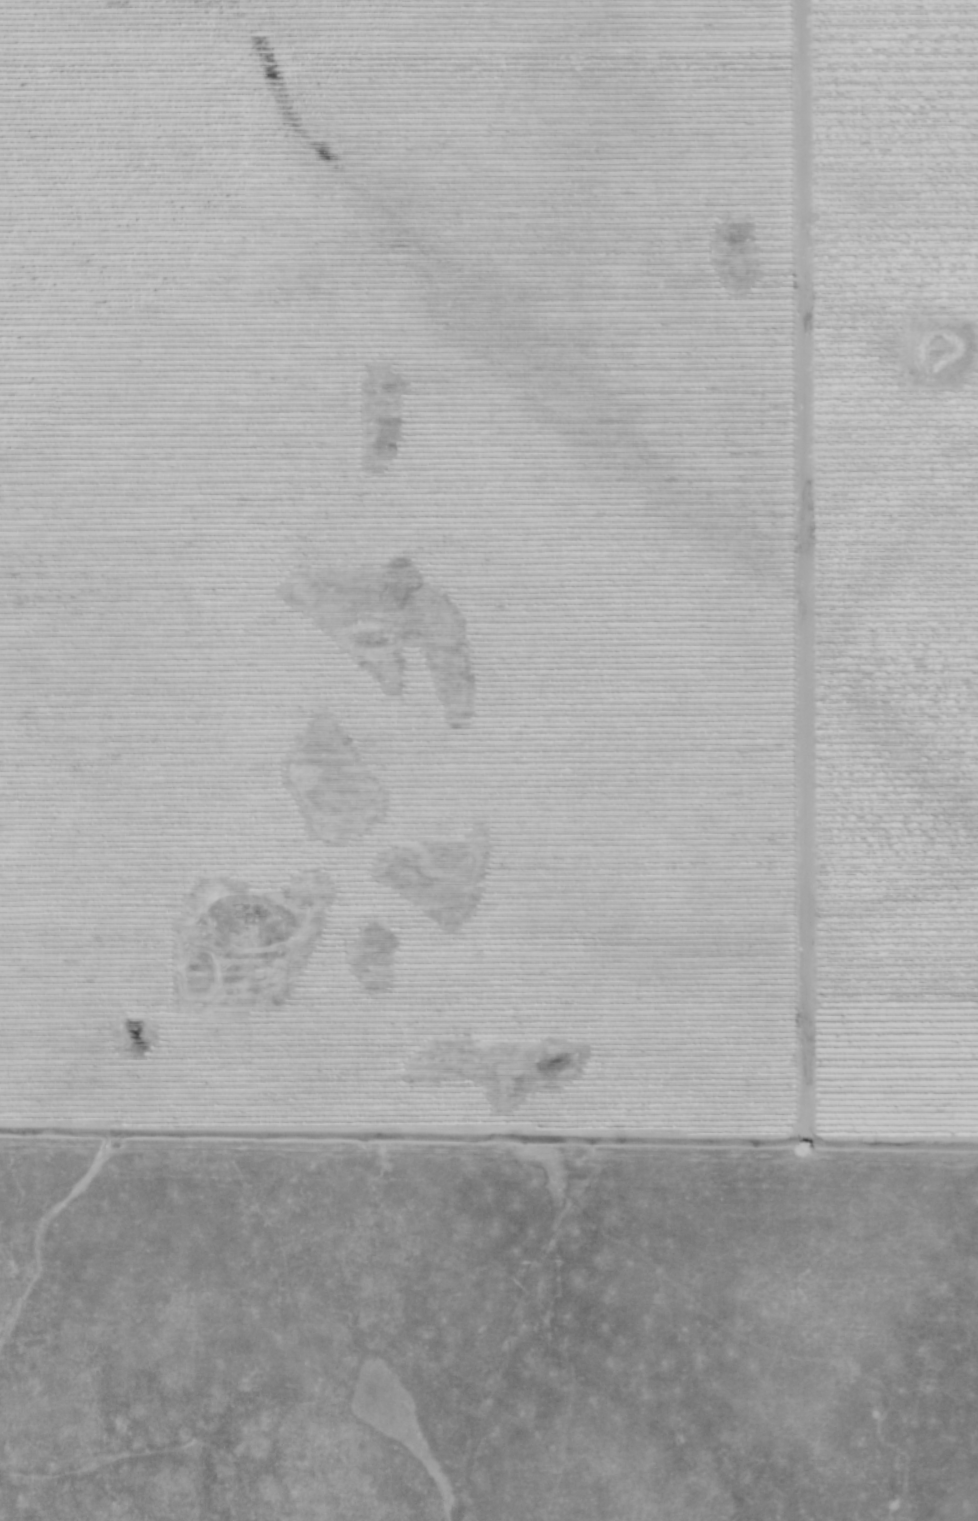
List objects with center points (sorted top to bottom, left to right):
road: (489, 1137)

